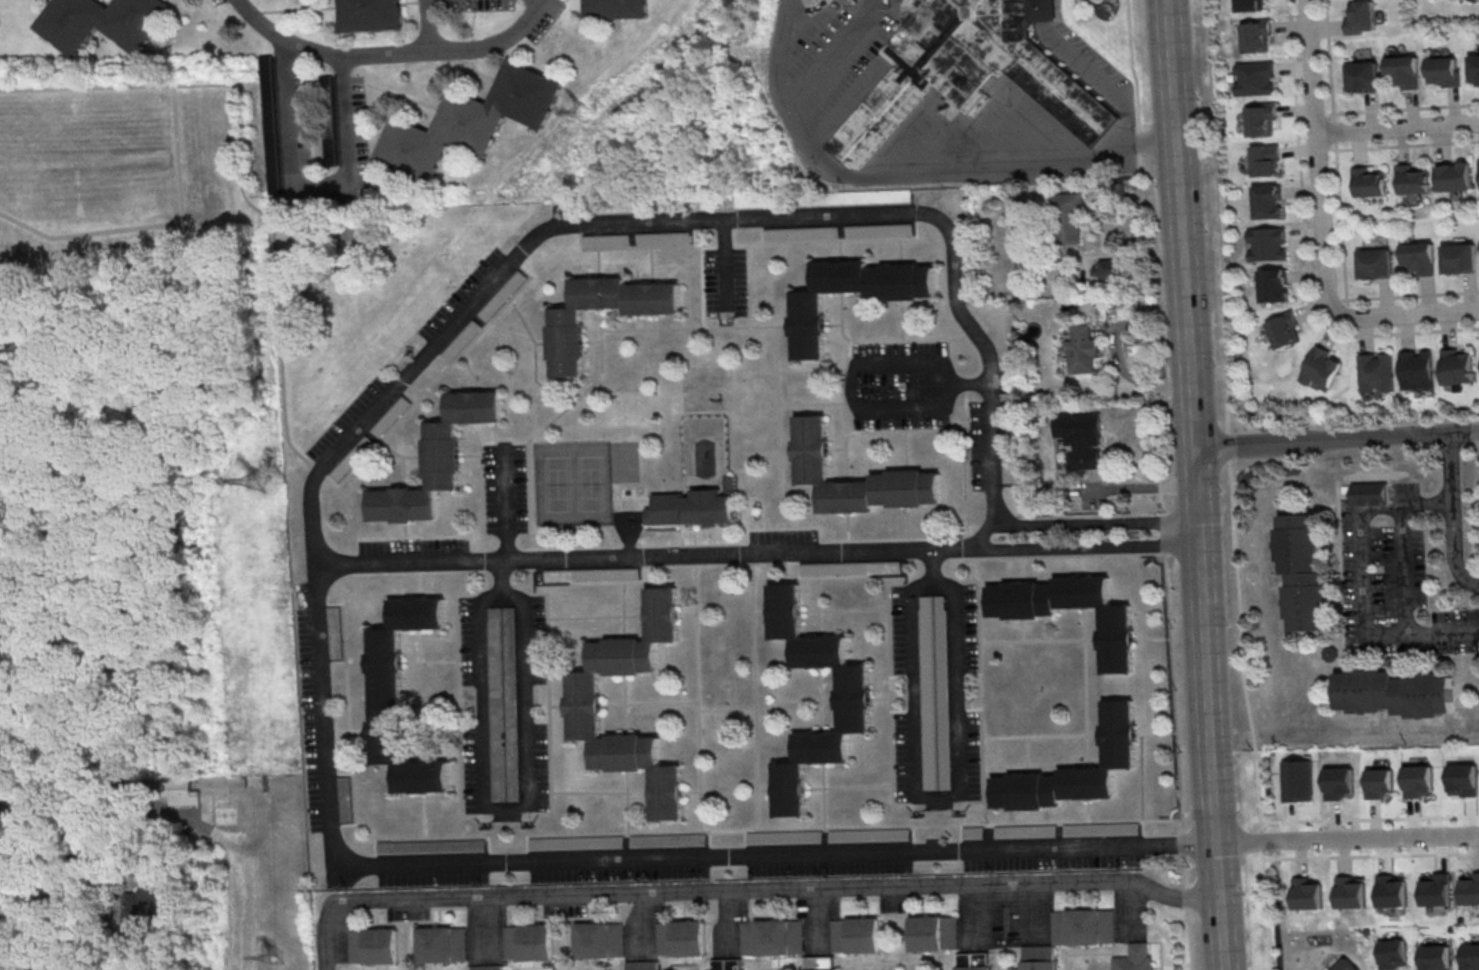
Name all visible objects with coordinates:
building: (1252, 5)
building: (616, 9)
road: (1041, 10)
building: (370, 16)
building: (1360, 17)
building: (104, 24)
road: (423, 26)
building: (1257, 35)
road: (493, 45)
road: (321, 53)
building: (1474, 67)
building: (968, 70)
building: (1402, 71)
building: (1443, 71)
building: (1362, 76)
building: (1255, 78)
road: (1099, 79)
power tower: (580, 112)
building: (1262, 119)
building: (468, 123)
building: (270, 124)
road: (1397, 126)
building: (330, 140)
road: (1407, 145)
road: (1317, 156)
road: (1336, 158)
building: (1265, 160)
road: (907, 170)
road: (245, 172)
building: (1454, 176)
building: (1412, 179)
building: (1368, 182)
road: (309, 185)
road: (1217, 197)
building: (823, 199)
building: (1268, 201)
building: (1066, 219)
building: (879, 230)
building: (801, 232)
building: (663, 237)
building: (605, 240)
road: (1304, 243)
building: (1267, 244)
building: (1418, 257)
building: (1459, 258)
building: (1375, 263)
road: (724, 264)
building: (1109, 268)
parking lot: (723, 282)
building: (1273, 285)
road: (1412, 294)
building: (502, 295)
road: (1407, 314)
building: (808, 329)
building: (1285, 330)
building: (460, 339)
building: (567, 345)
road: (1121, 349)
building: (1082, 352)
building: (1457, 365)
building: (1322, 368)
road: (930, 369)
building: (1417, 369)
building: (1375, 372)
parking lot: (899, 385)
park: (698, 392)
building: (1006, 401)
road: (909, 403)
building: (390, 416)
building: (1082, 438)
road: (1336, 438)
building: (811, 444)
building: (351, 457)
building: (437, 459)
building: (1008, 466)
road: (1160, 482)
power tower: (255, 483)
park: (573, 483)
road: (1196, 484)
parking lot: (504, 488)
building: (1369, 493)
building: (677, 506)
road: (503, 510)
road: (1453, 516)
road: (1082, 524)
road: (1087, 548)
road: (644, 557)
building: (850, 567)
building: (1302, 572)
building: (592, 575)
road: (500, 576)
road: (1365, 577)
road: (312, 580)
road: (1404, 582)
building: (334, 632)
building: (1116, 646)
building: (927, 692)
building: (943, 692)
building: (1394, 692)
building: (400, 695)
building: (853, 699)
building: (584, 702)
building: (496, 704)
building: (510, 704)
building: (1075, 769)
building: (1463, 779)
building: (1418, 780)
building: (1337, 782)
building: (1378, 782)
building: (181, 797)
road: (919, 798)
building: (344, 799)
road: (96, 803)
road: (509, 813)
road: (1350, 818)
building: (1101, 828)
building: (1025, 831)
building: (869, 835)
building: (784, 836)
road: (1348, 837)
building: (668, 840)
building: (575, 842)
building: (431, 846)
road: (1370, 855)
road: (51, 877)
building: (1435, 889)
building: (1469, 889)
road: (775, 890)
building: (1391, 891)
building: (1351, 892)
building: (1307, 893)
building: (143, 905)
road: (1265, 914)
building: (1084, 927)
building: (934, 933)
building: (856, 935)
road: (321, 937)
building: (773, 937)
building: (681, 938)
building: (600, 940)
building: (528, 942)
building: (442, 944)
building: (374, 945)
building: (1038, 957)
building: (1134, 958)
building: (1471, 958)
power tower: (273, 959)
building: (1435, 959)
building: (725, 964)
building: (642, 965)
building: (487, 967)
building: (974, 967)
building: (825, 969)

